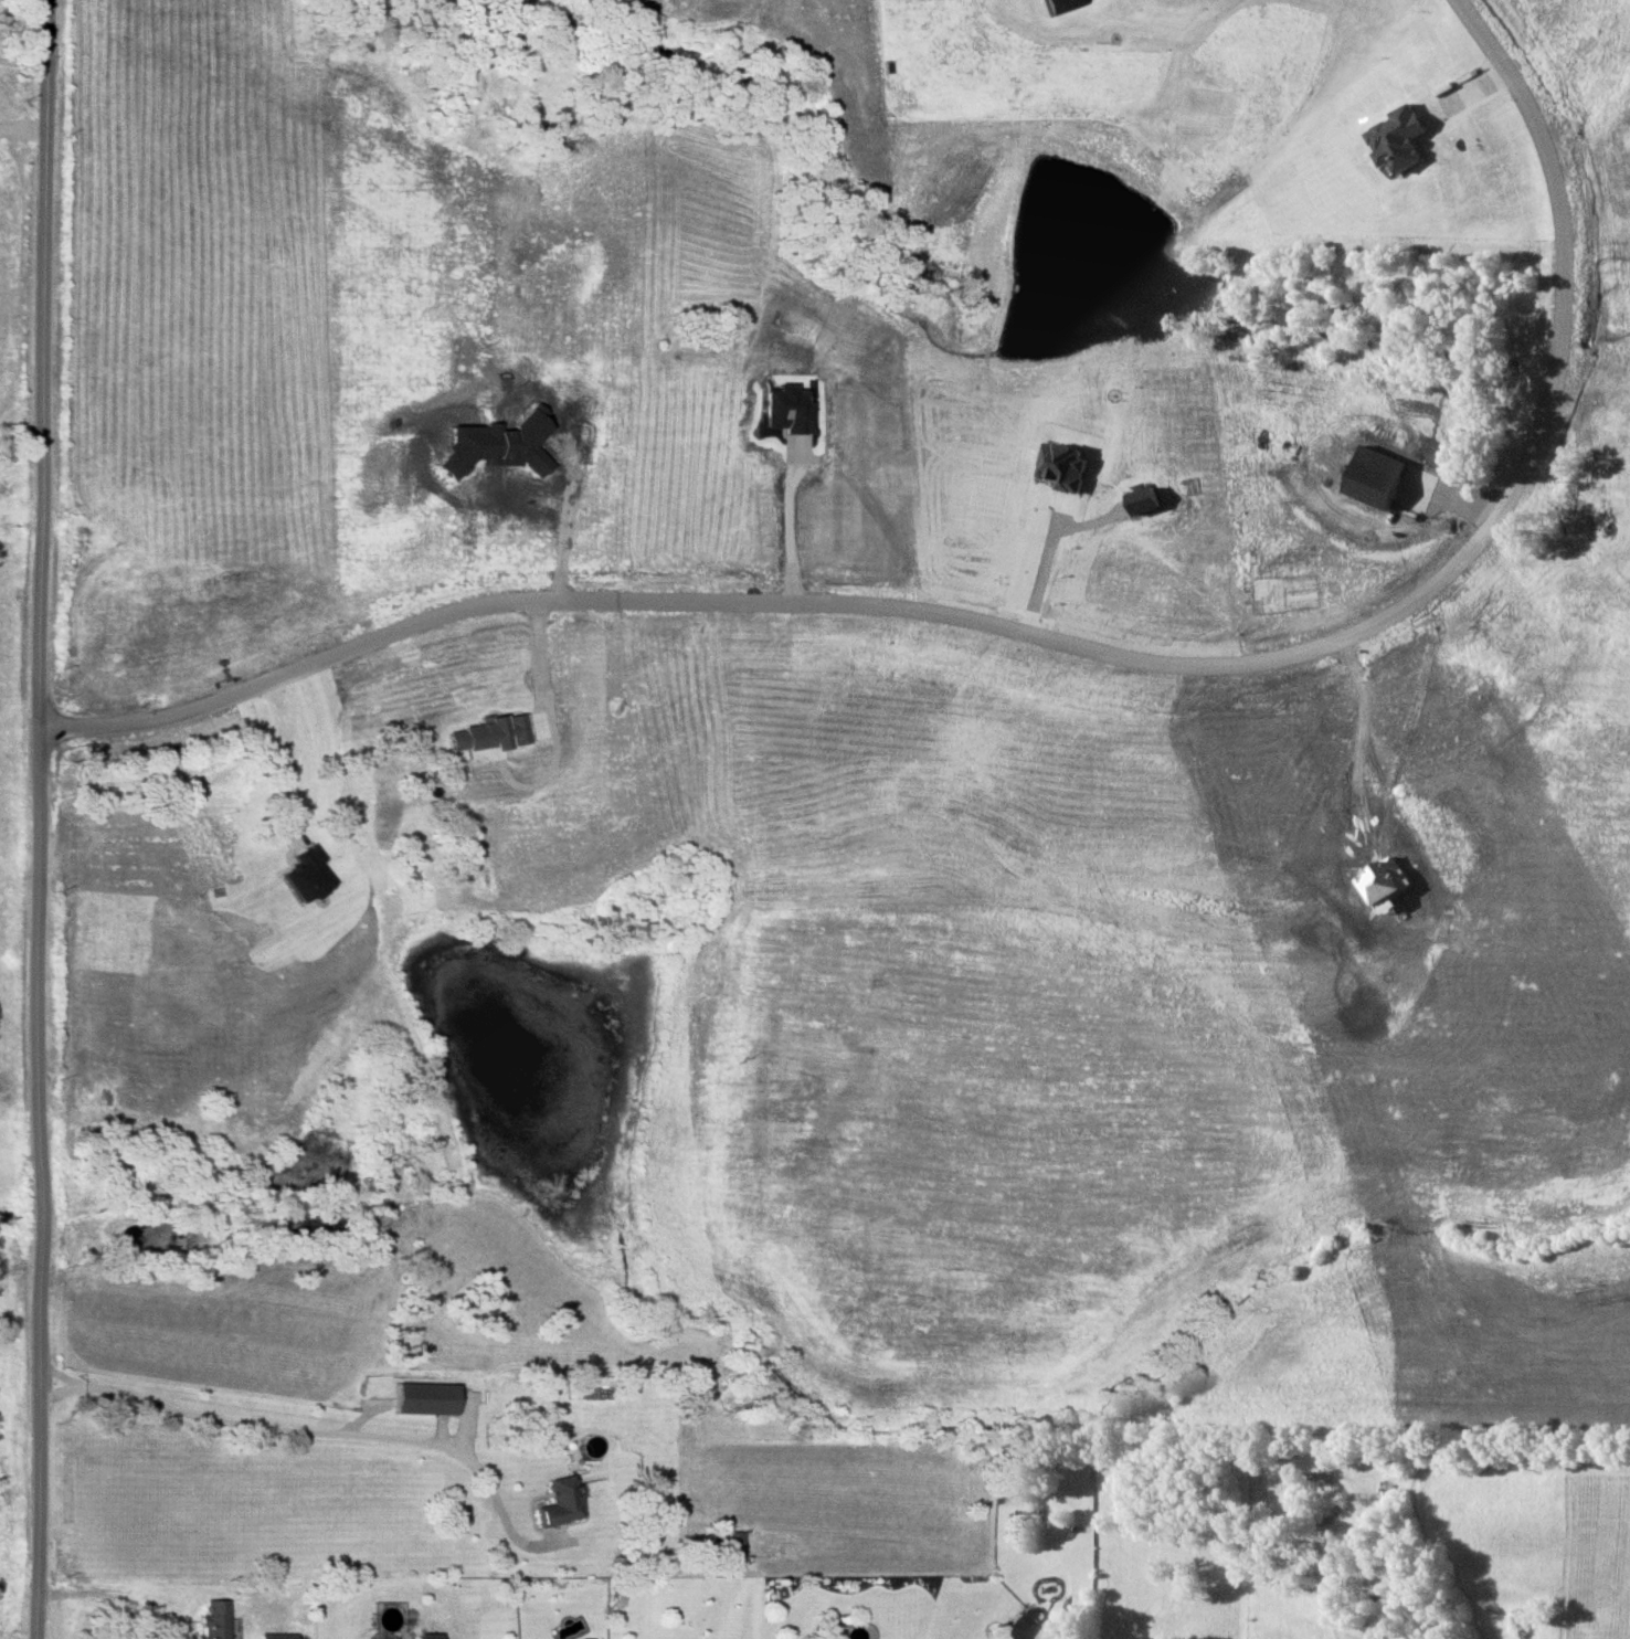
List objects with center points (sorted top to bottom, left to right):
building: (1055, 4)
building: (1404, 138)
building: (1066, 465)
road: (565, 529)
road: (781, 532)
road: (1045, 579)
road: (1063, 645)
road: (540, 668)
building: (490, 732)
road: (290, 761)
road: (38, 819)
road: (54, 1377)
road: (52, 1395)
building: (421, 1398)
road: (316, 1437)
building: (554, 1502)
road: (110, 1599)
building: (209, 1619)
building: (1022, 1626)
building: (274, 1636)
building: (426, 1636)
building: (581, 1638)

